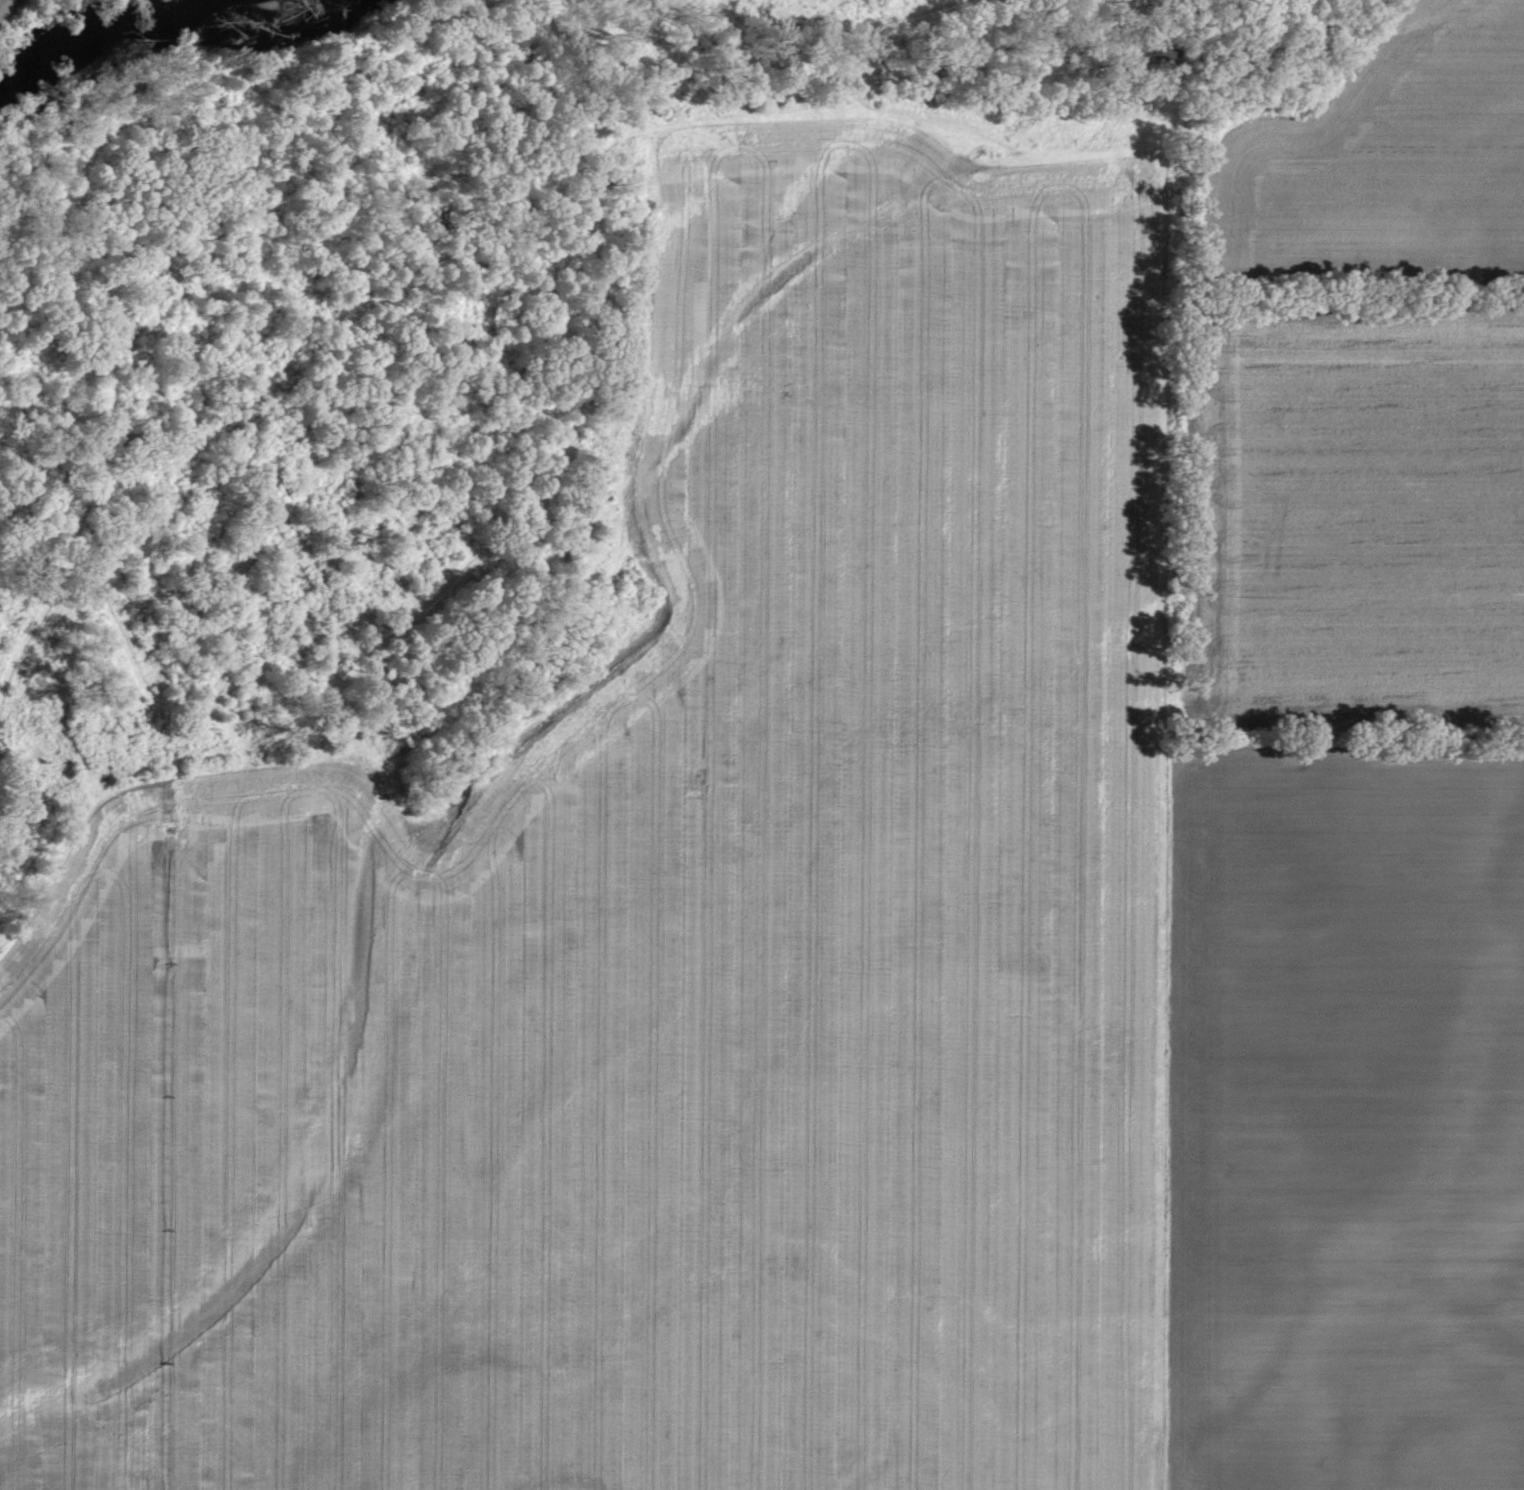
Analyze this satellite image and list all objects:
river: (118, 25)

